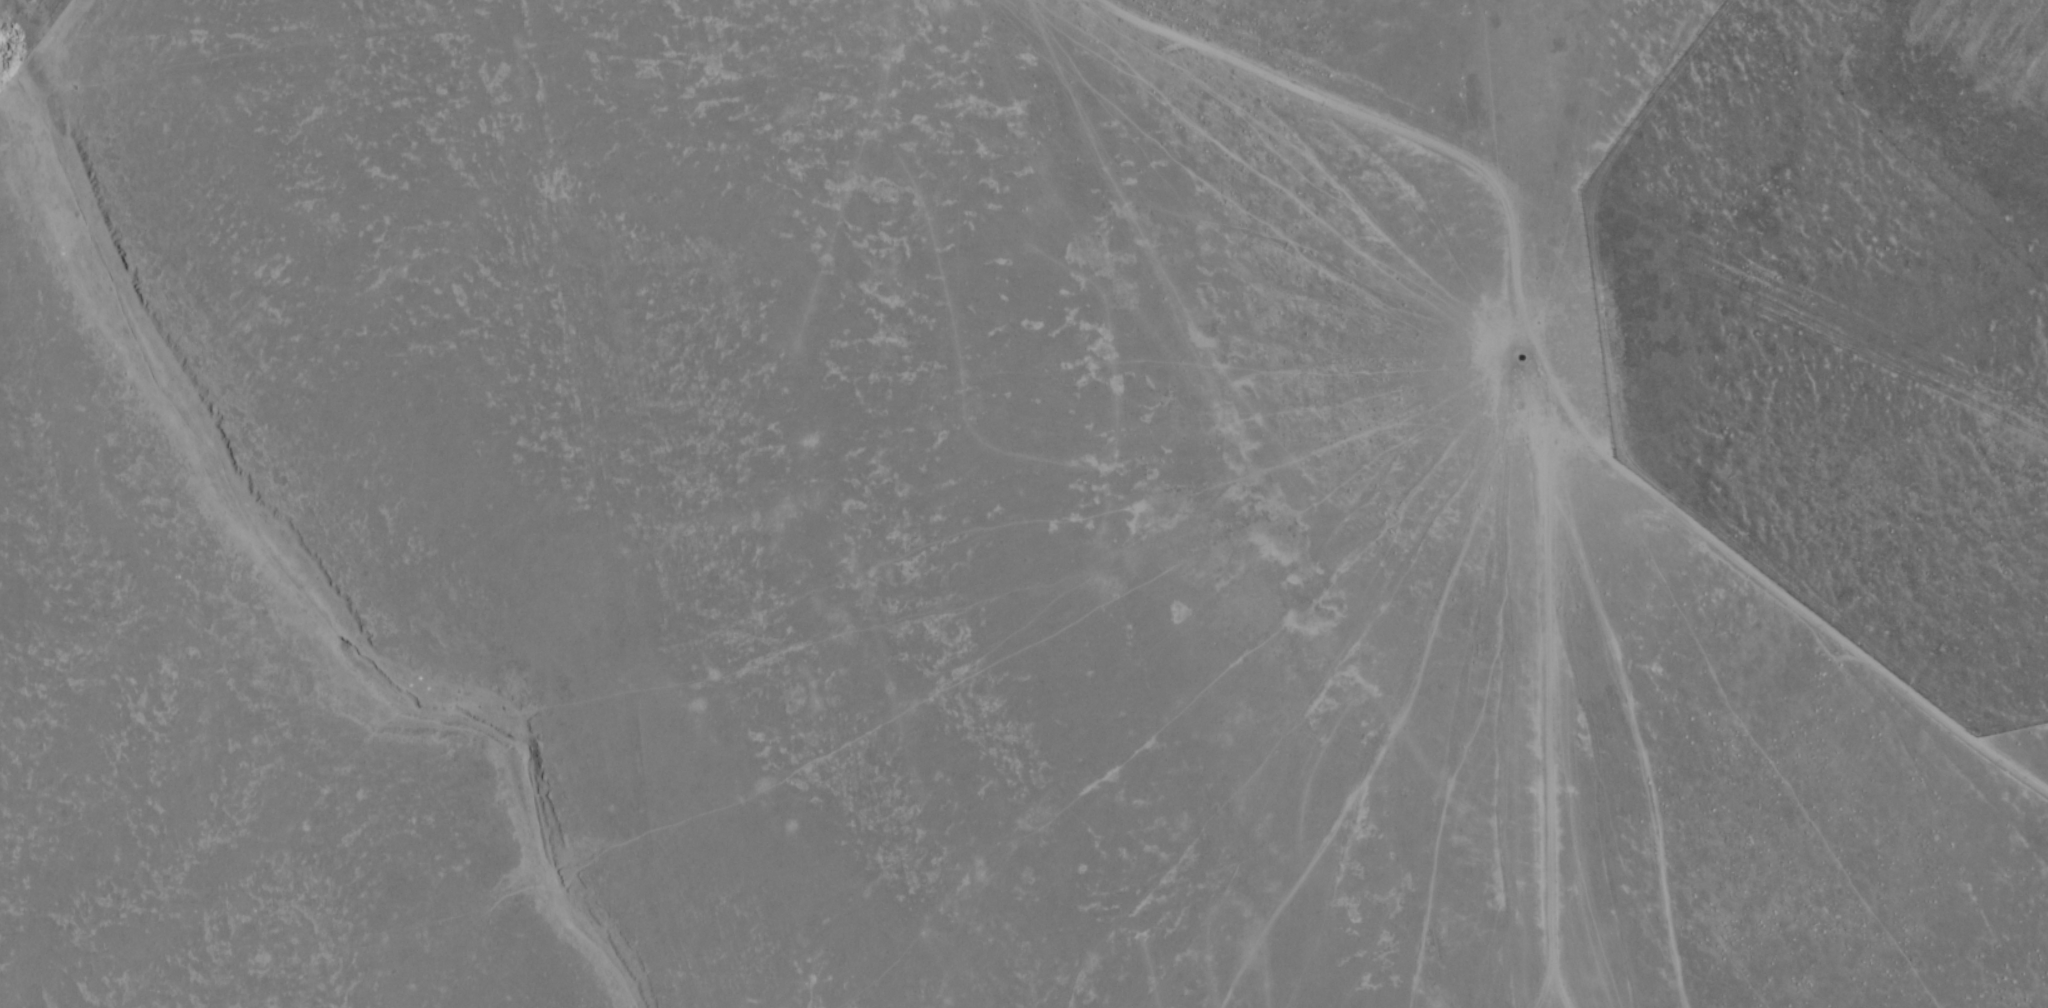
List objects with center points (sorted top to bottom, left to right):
airport: (1852, 319)
road: (1833, 329)
road: (1553, 399)
road: (1667, 444)

